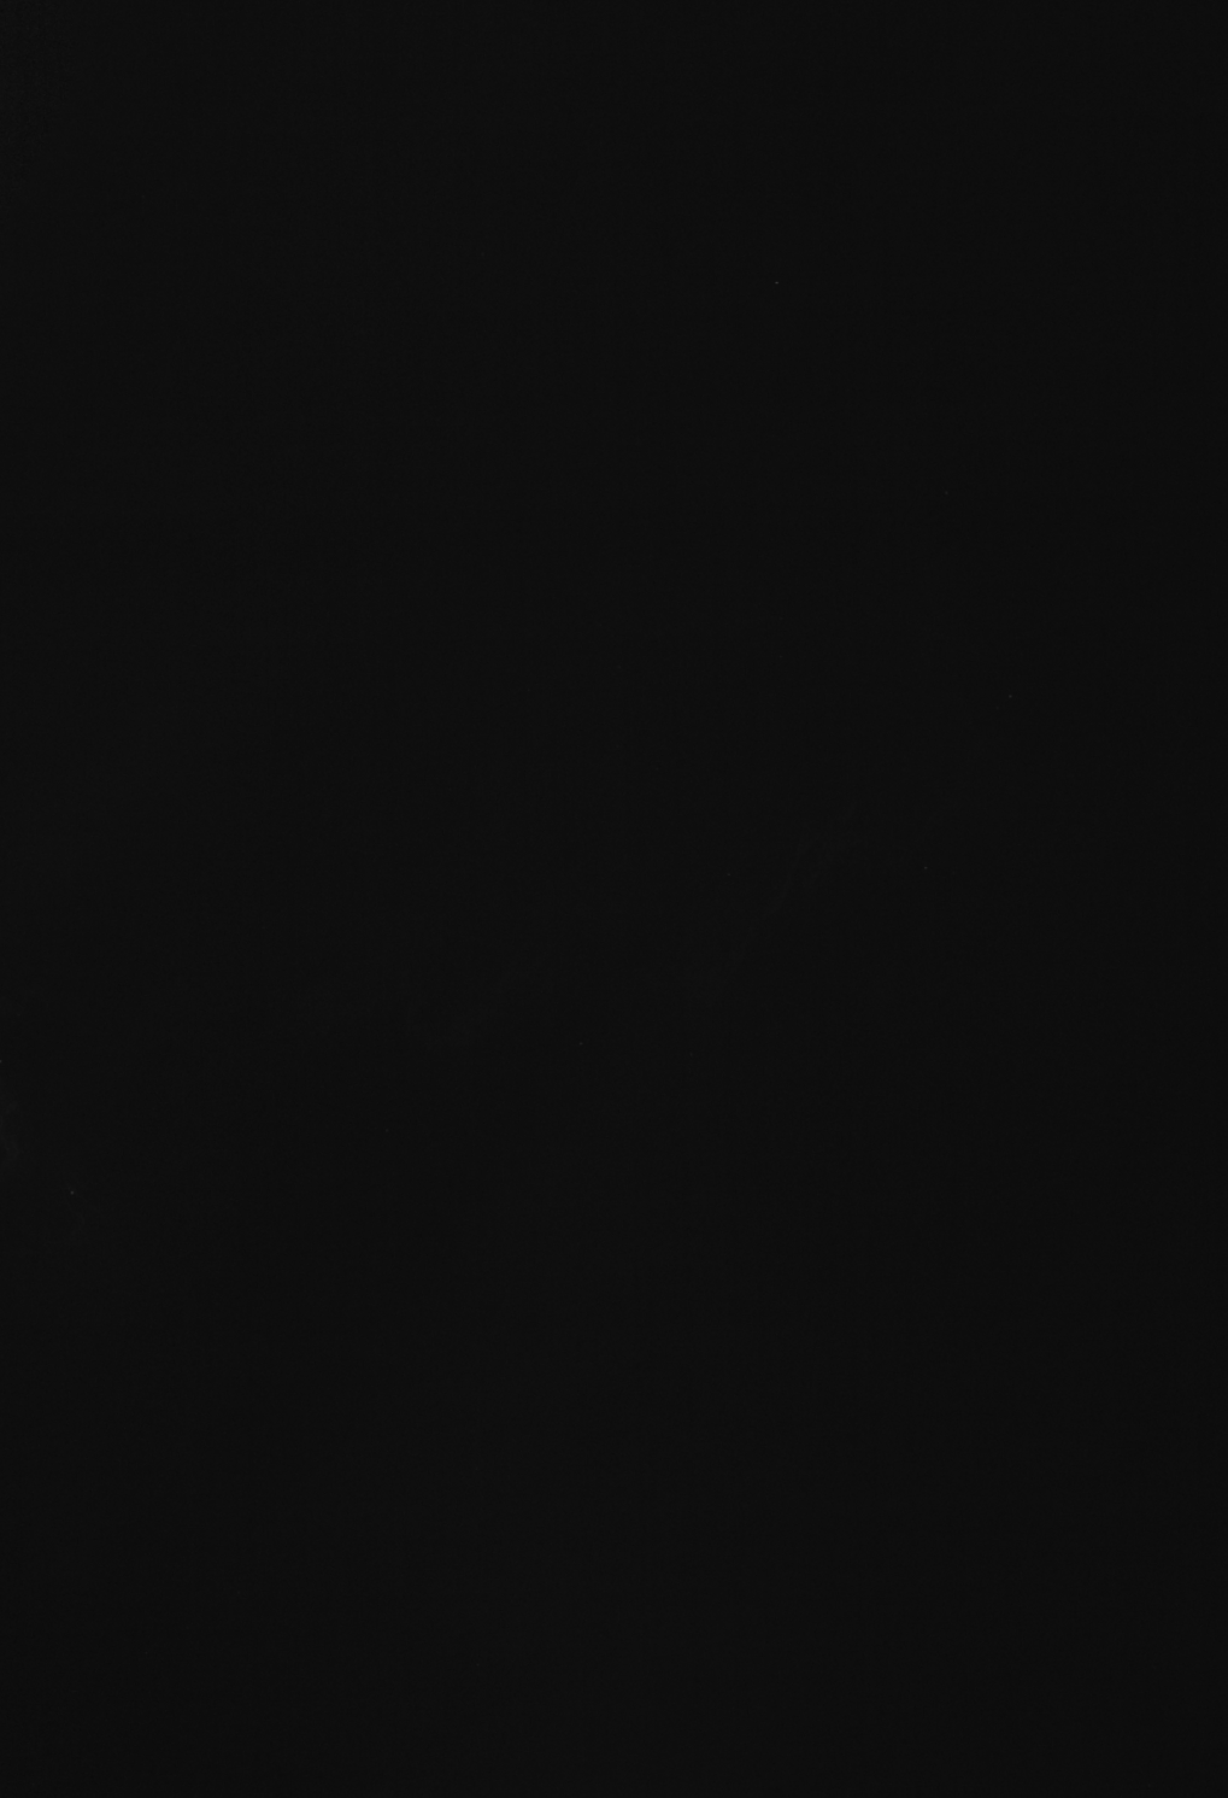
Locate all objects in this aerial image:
river: (589, 884)

